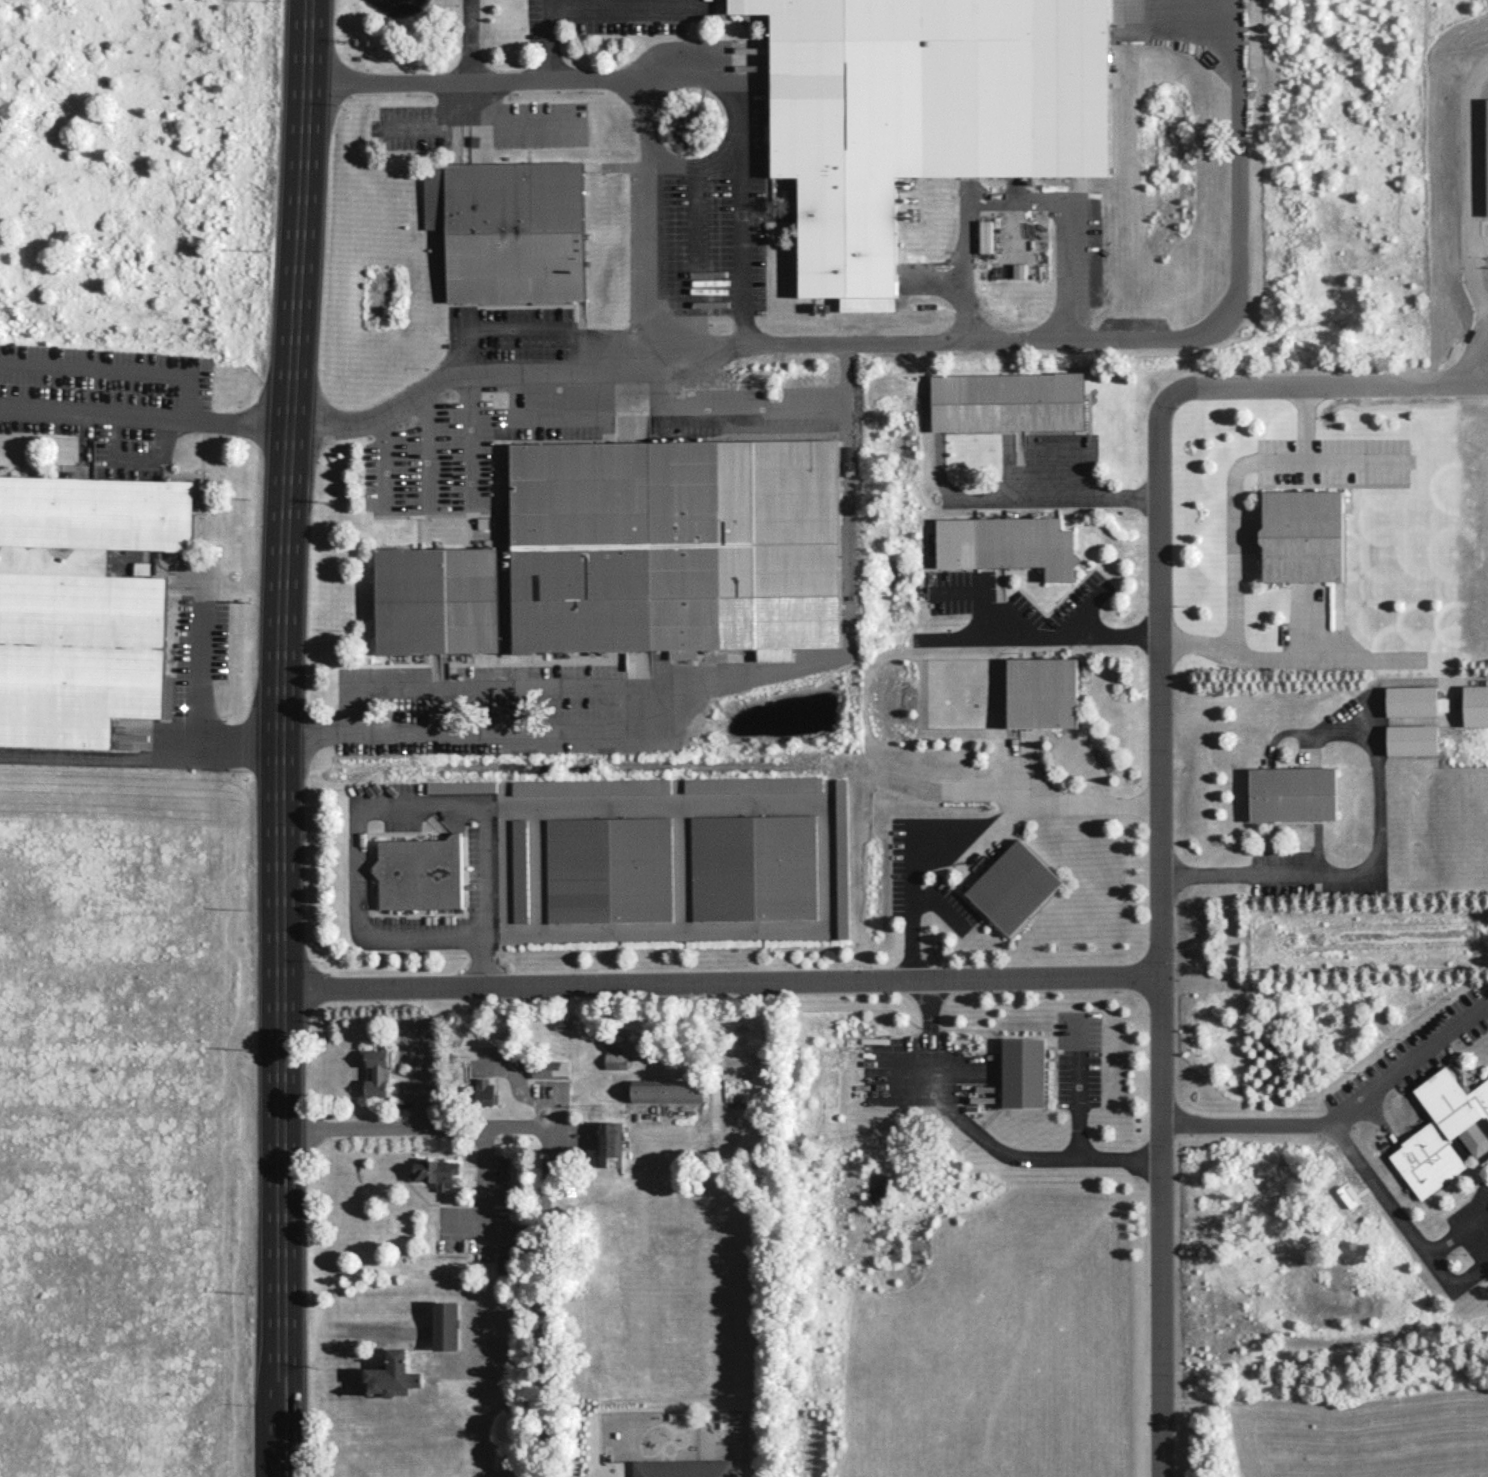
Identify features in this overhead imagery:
road: (469, 39)
road: (664, 73)
road: (387, 77)
building: (922, 113)
road: (688, 165)
road: (1014, 199)
building: (509, 229)
road: (695, 268)
road: (520, 323)
road: (617, 339)
road: (1051, 341)
road: (702, 363)
road: (465, 374)
road: (1320, 385)
road: (653, 399)
building: (1007, 401)
road: (144, 410)
road: (561, 416)
road: (474, 439)
road: (428, 446)
road: (384, 458)
road: (1353, 461)
road: (1055, 498)
road: (1233, 526)
building: (1302, 535)
building: (1006, 544)
building: (634, 554)
building: (141, 568)
building: (83, 603)
road: (1040, 634)
road: (1323, 659)
road: (477, 686)
road: (675, 692)
building: (1042, 692)
road: (189, 698)
building: (1411, 702)
building: (1475, 706)
road: (279, 738)
building: (1411, 739)
building: (10, 752)
road: (107, 757)
building: (752, 784)
building: (461, 786)
building: (590, 786)
building: (1292, 793)
road: (1088, 804)
road: (824, 810)
road: (484, 835)
road: (911, 848)
building: (841, 858)
building: (753, 867)
road: (1360, 868)
building: (608, 869)
building: (518, 870)
building: (419, 872)
building: (1013, 887)
road: (936, 905)
road: (367, 938)
road: (1163, 941)
road: (721, 983)
building: (616, 1054)
road: (1409, 1063)
road: (928, 1066)
building: (550, 1069)
building: (376, 1072)
building: (1023, 1072)
road: (1078, 1088)
building: (485, 1090)
building: (667, 1090)
building: (1443, 1131)
road: (1341, 1138)
building: (609, 1144)
road: (1067, 1155)
road: (543, 1168)
building: (437, 1172)
road: (487, 1207)
road: (1457, 1232)
building: (504, 1263)
road: (1470, 1275)
building: (446, 1325)
building: (392, 1372)
building: (683, 1468)

